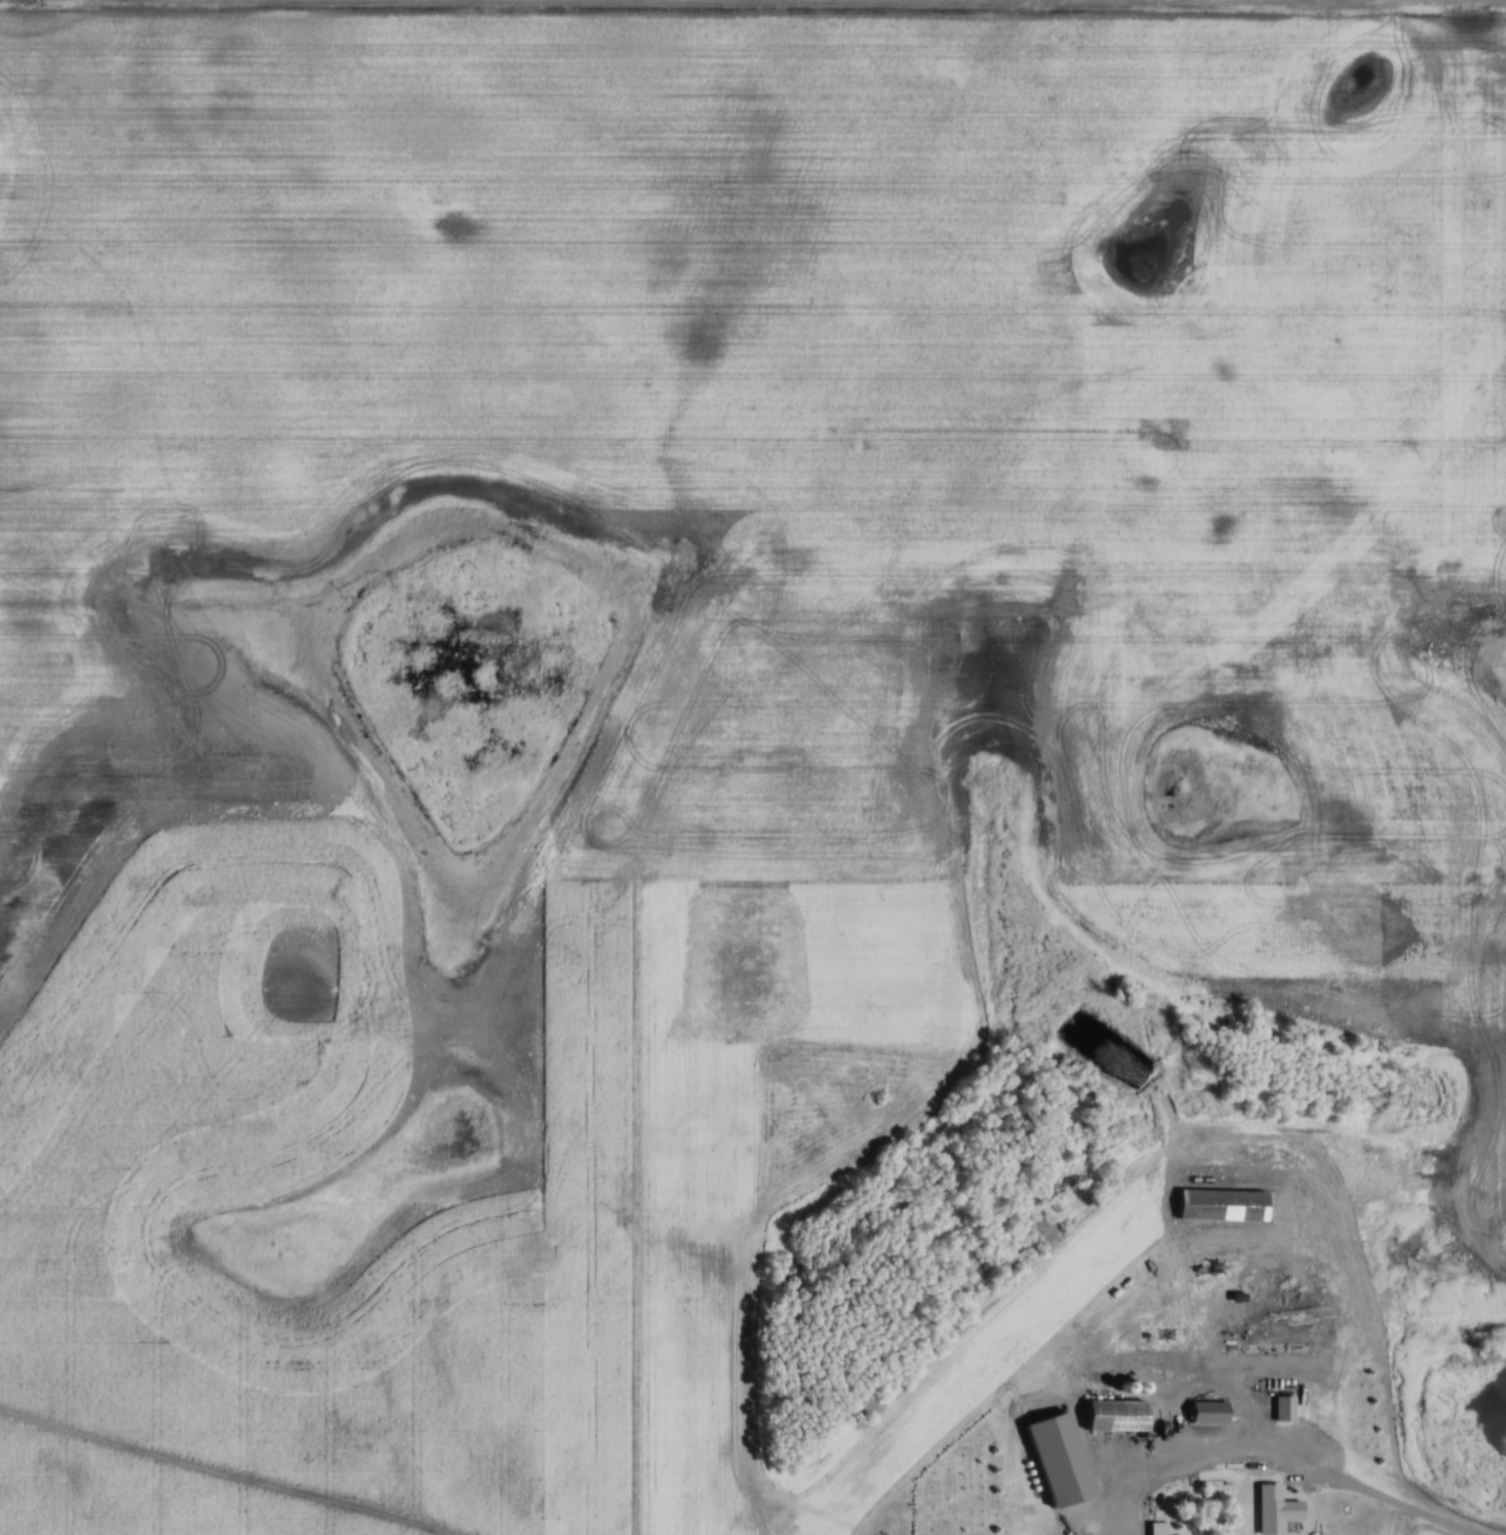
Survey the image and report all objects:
building: (1221, 1205)
building: (1207, 1307)
building: (1283, 1409)
building: (1207, 1413)
building: (1115, 1416)
building: (1269, 1510)

